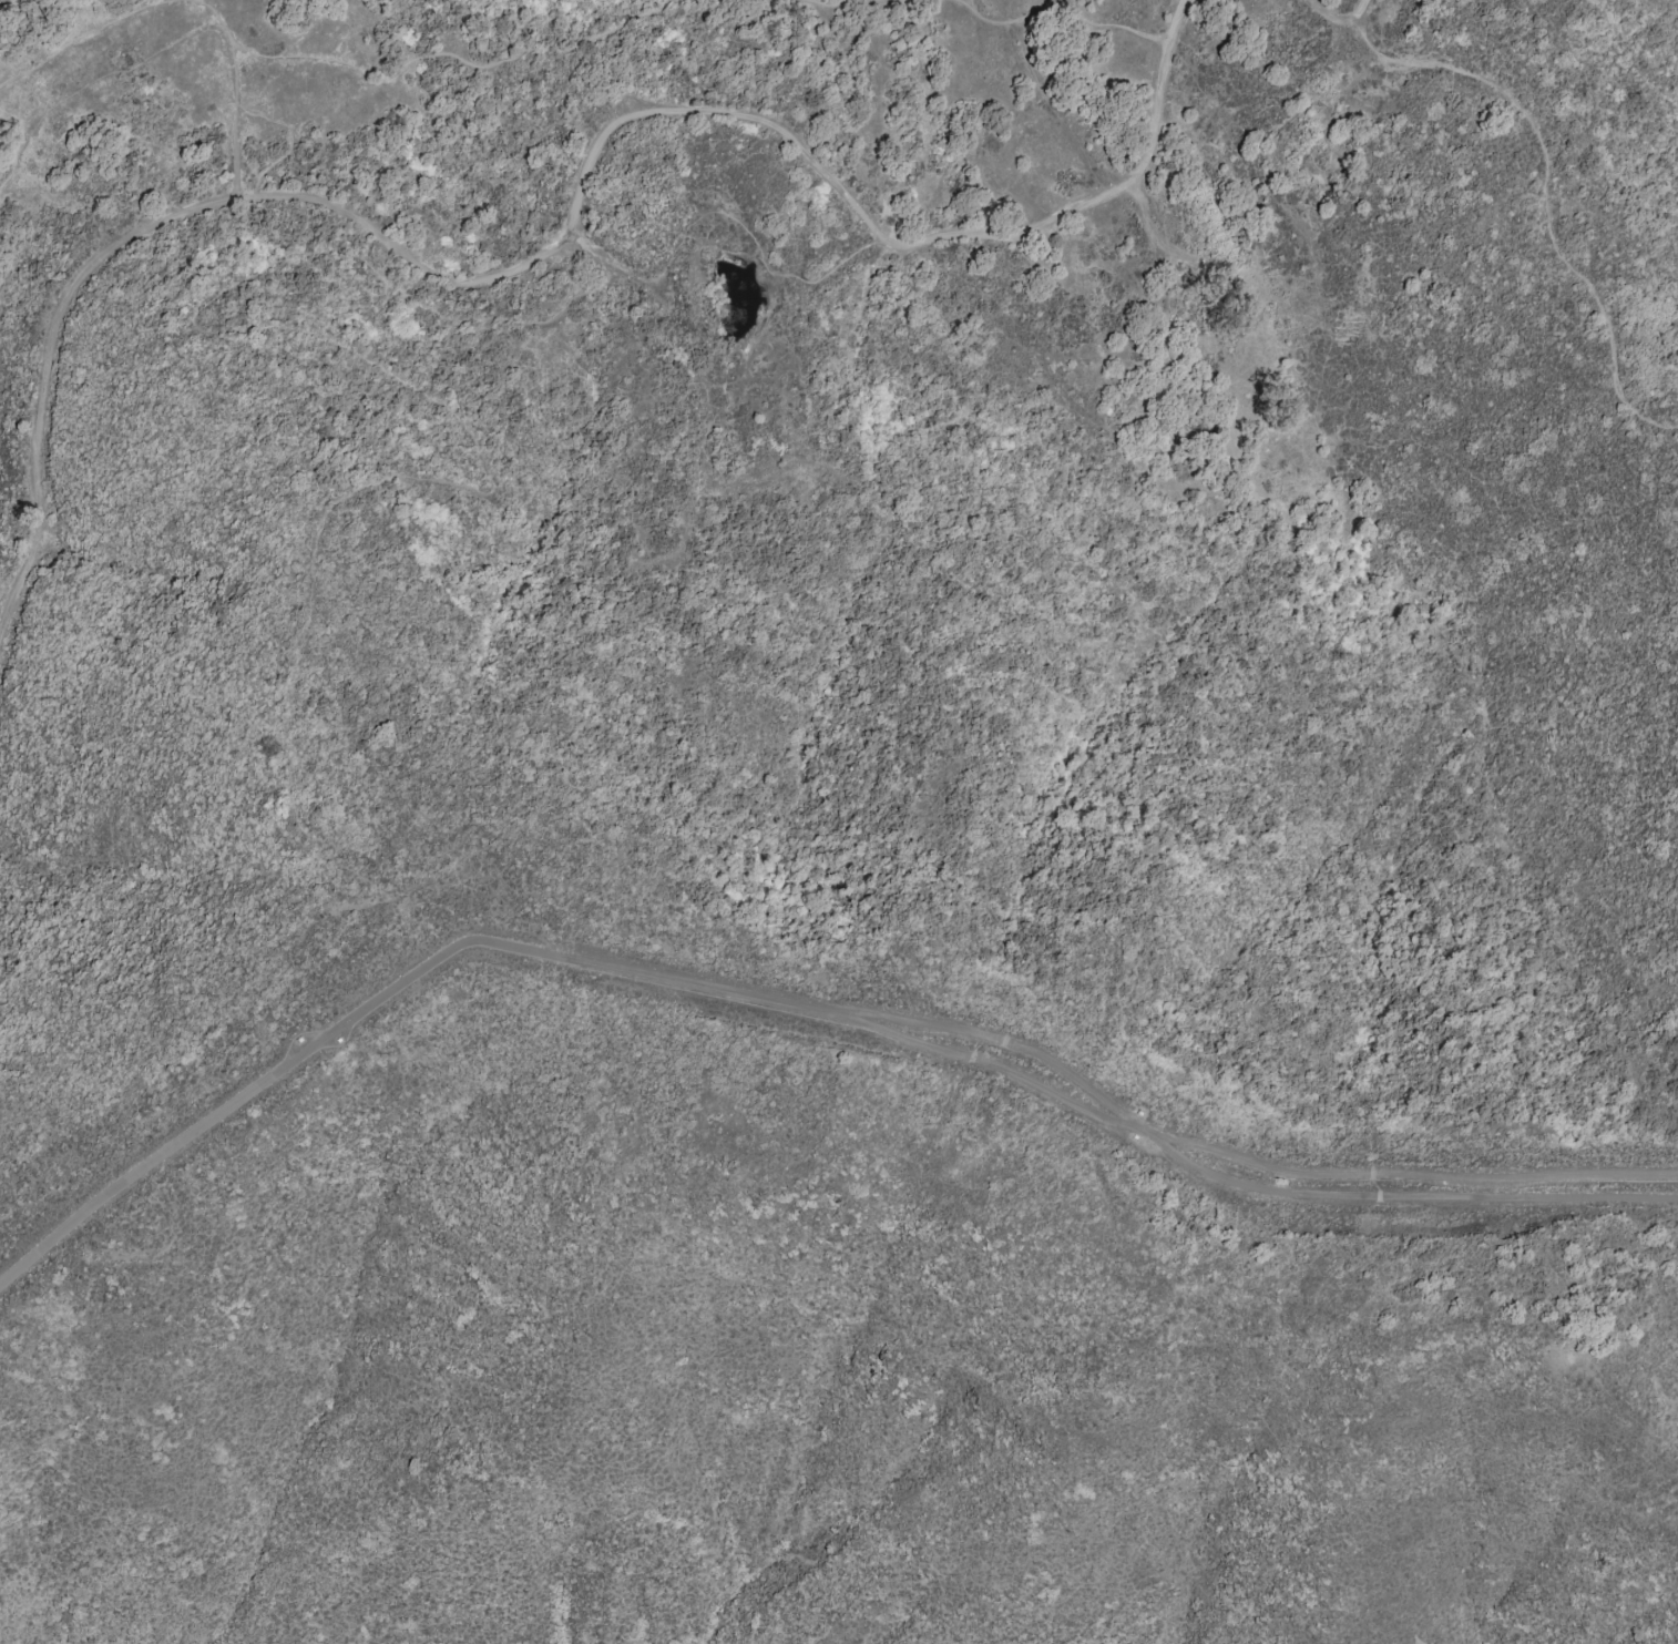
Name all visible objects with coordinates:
road: (1066, 8)
road: (209, 14)
road: (1064, 17)
road: (1342, 18)
road: (96, 30)
road: (299, 58)
road: (1054, 112)
road: (232, 114)
road: (3, 186)
road: (1542, 195)
road: (743, 228)
road: (554, 243)
road: (442, 406)
road: (797, 1007)

